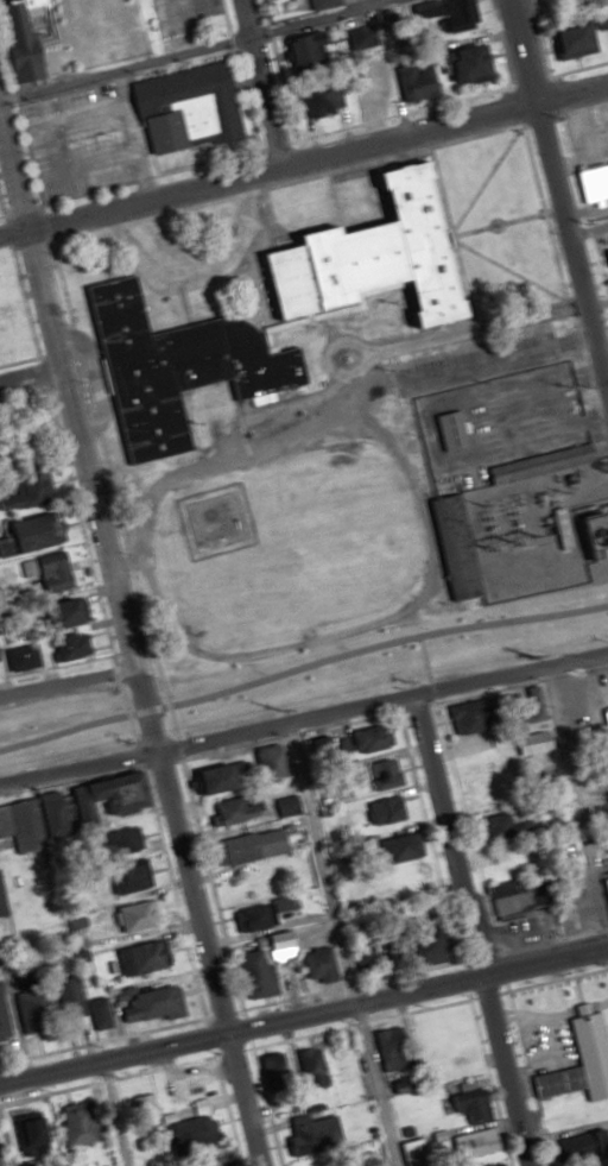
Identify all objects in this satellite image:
building: (318, 4)
building: (579, 4)
building: (577, 37)
building: (20, 38)
road: (194, 49)
building: (303, 49)
building: (462, 65)
building: (413, 80)
road: (258, 81)
building: (372, 93)
building: (319, 102)
building: (183, 109)
road: (304, 156)
road: (484, 181)
building: (591, 183)
road: (442, 191)
road: (559, 195)
road: (69, 235)
building: (607, 238)
road: (467, 246)
building: (360, 254)
building: (606, 257)
road: (135, 273)
road: (197, 273)
building: (1, 285)
road: (256, 295)
building: (0, 300)
road: (324, 314)
building: (8, 344)
building: (176, 367)
road: (28, 372)
building: (448, 430)
building: (40, 530)
building: (56, 569)
road: (397, 612)
road: (121, 644)
building: (71, 645)
road: (600, 673)
road: (63, 674)
road: (304, 718)
building: (476, 721)
building: (601, 731)
building: (369, 738)
building: (274, 762)
building: (379, 768)
building: (228, 776)
road: (576, 798)
building: (289, 806)
building: (239, 808)
building: (506, 824)
building: (128, 840)
building: (254, 846)
building: (132, 877)
building: (520, 895)
building: (260, 914)
building: (139, 916)
road: (471, 929)
road: (340, 944)
building: (145, 957)
building: (322, 964)
building: (261, 973)
building: (74, 998)
building: (33, 1000)
building: (153, 1002)
building: (102, 1011)
road: (303, 1015)
building: (392, 1048)
building: (313, 1066)
building: (566, 1080)
building: (473, 1101)
building: (148, 1110)
road: (113, 1114)
building: (81, 1124)
building: (36, 1133)
building: (588, 1145)

